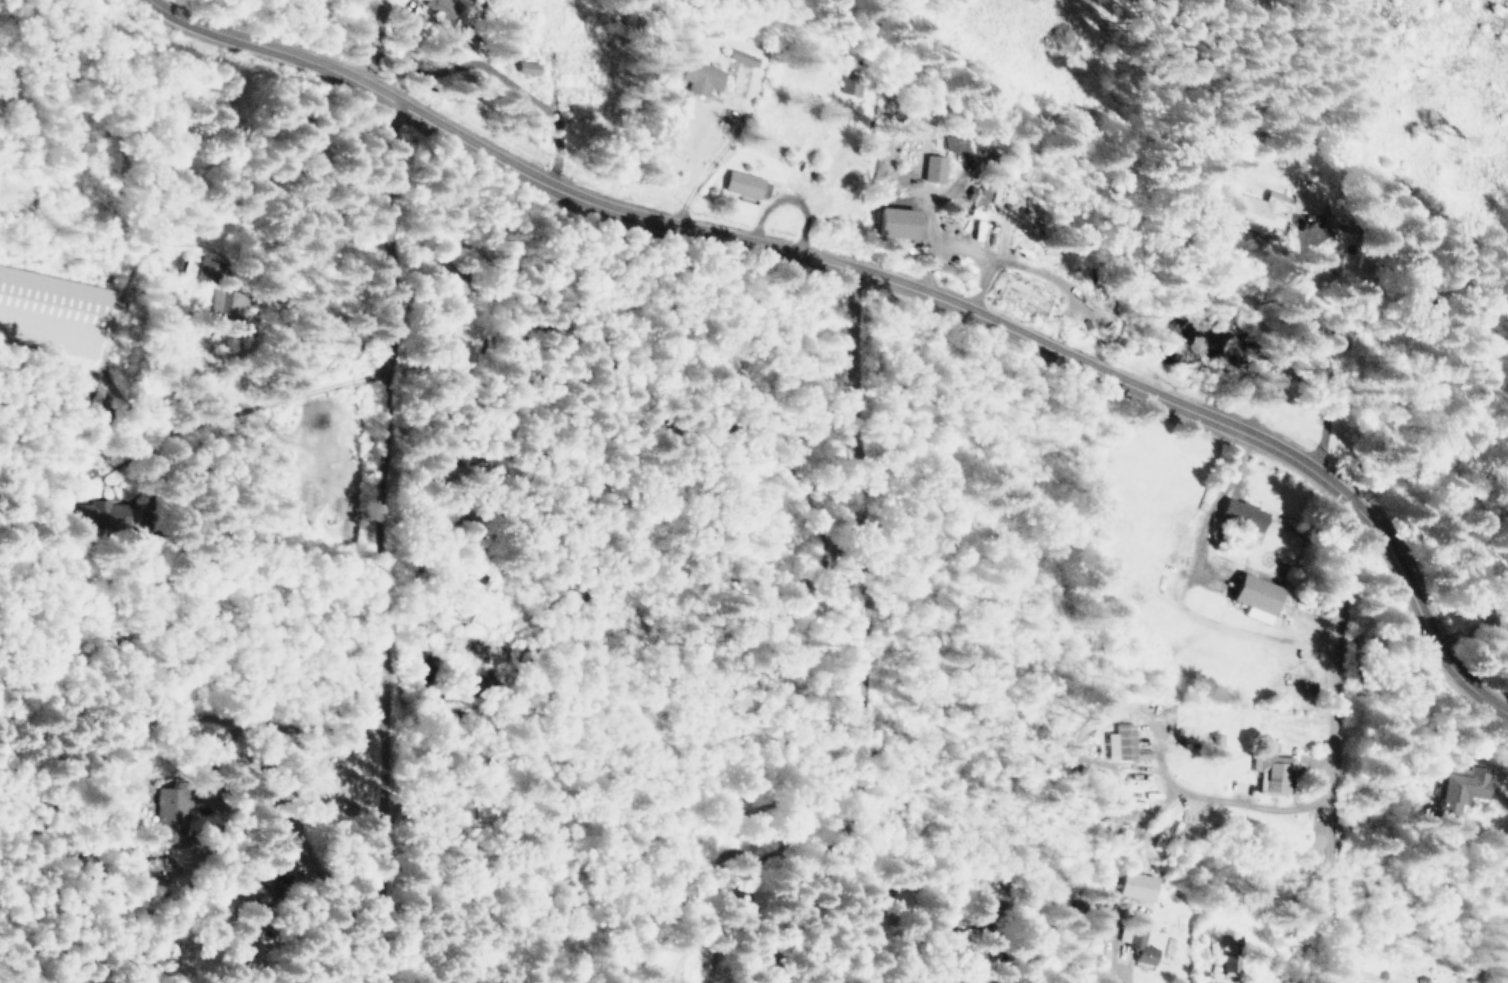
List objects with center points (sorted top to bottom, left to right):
building: (448, 7)
road: (375, 42)
building: (534, 69)
building: (705, 78)
building: (854, 83)
building: (954, 143)
building: (931, 168)
building: (744, 184)
building: (976, 194)
building: (890, 222)
road: (964, 249)
building: (210, 269)
road: (931, 269)
road: (884, 280)
building: (233, 302)
building: (464, 339)
road: (1323, 361)
road: (152, 416)
building: (108, 514)
building: (1240, 514)
road: (381, 566)
building: (1252, 597)
road: (863, 625)
road: (162, 713)
road: (1332, 739)
building: (1119, 742)
building: (1270, 774)
building: (177, 808)
road: (147, 842)
building: (156, 864)
building: (1133, 885)
building: (261, 892)
building: (1139, 946)
building: (1233, 965)

